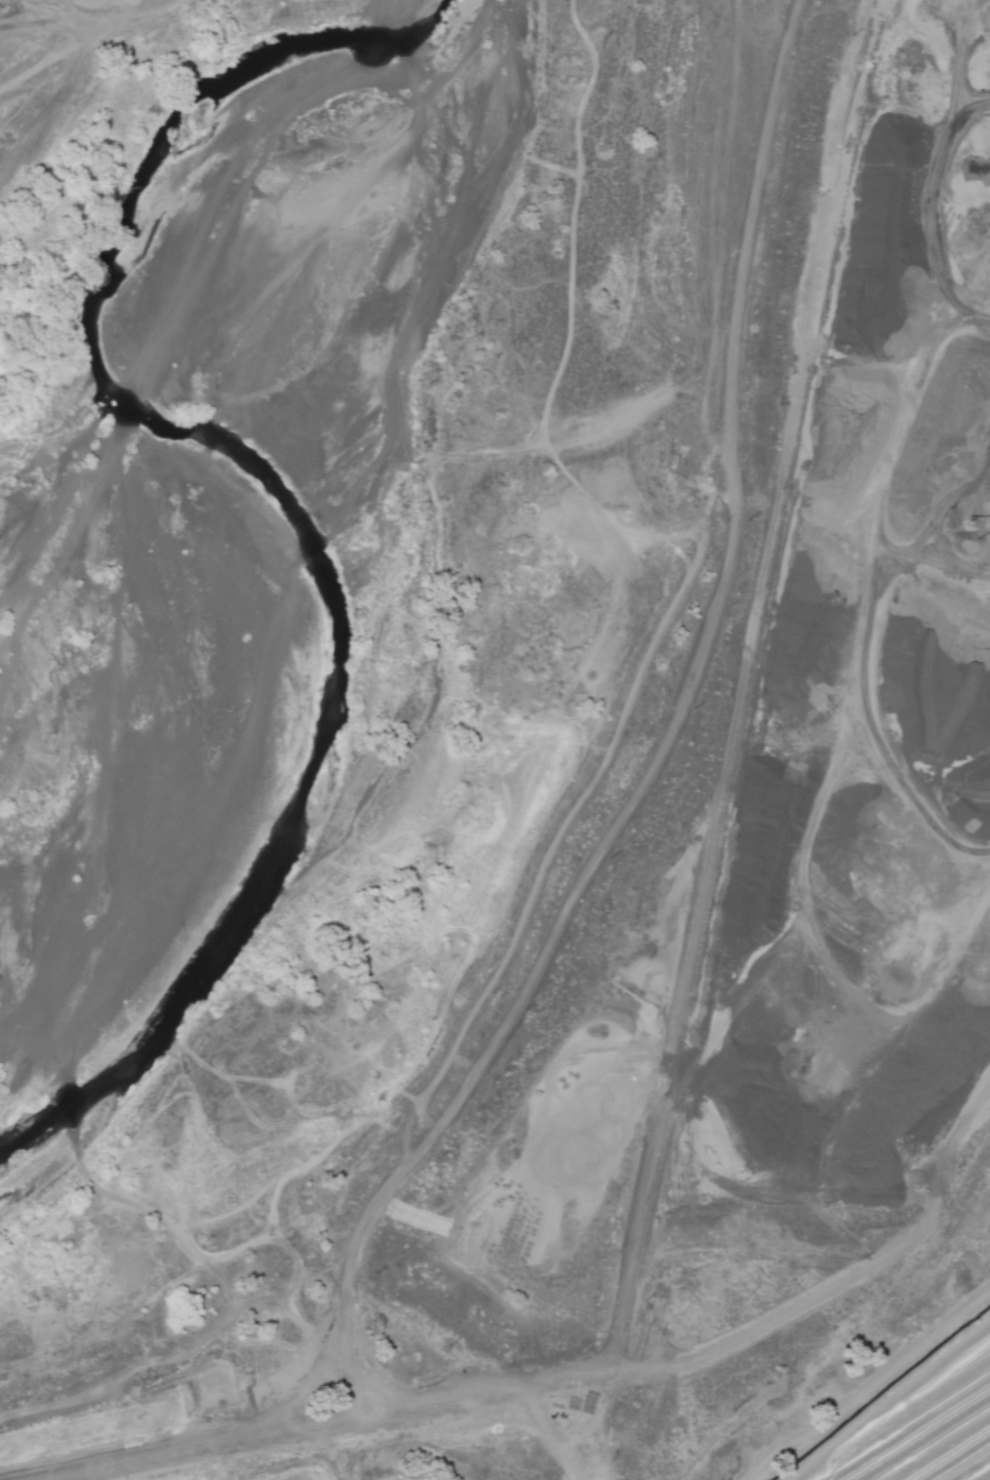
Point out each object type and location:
river: (221, 290)
quarry: (748, 796)

